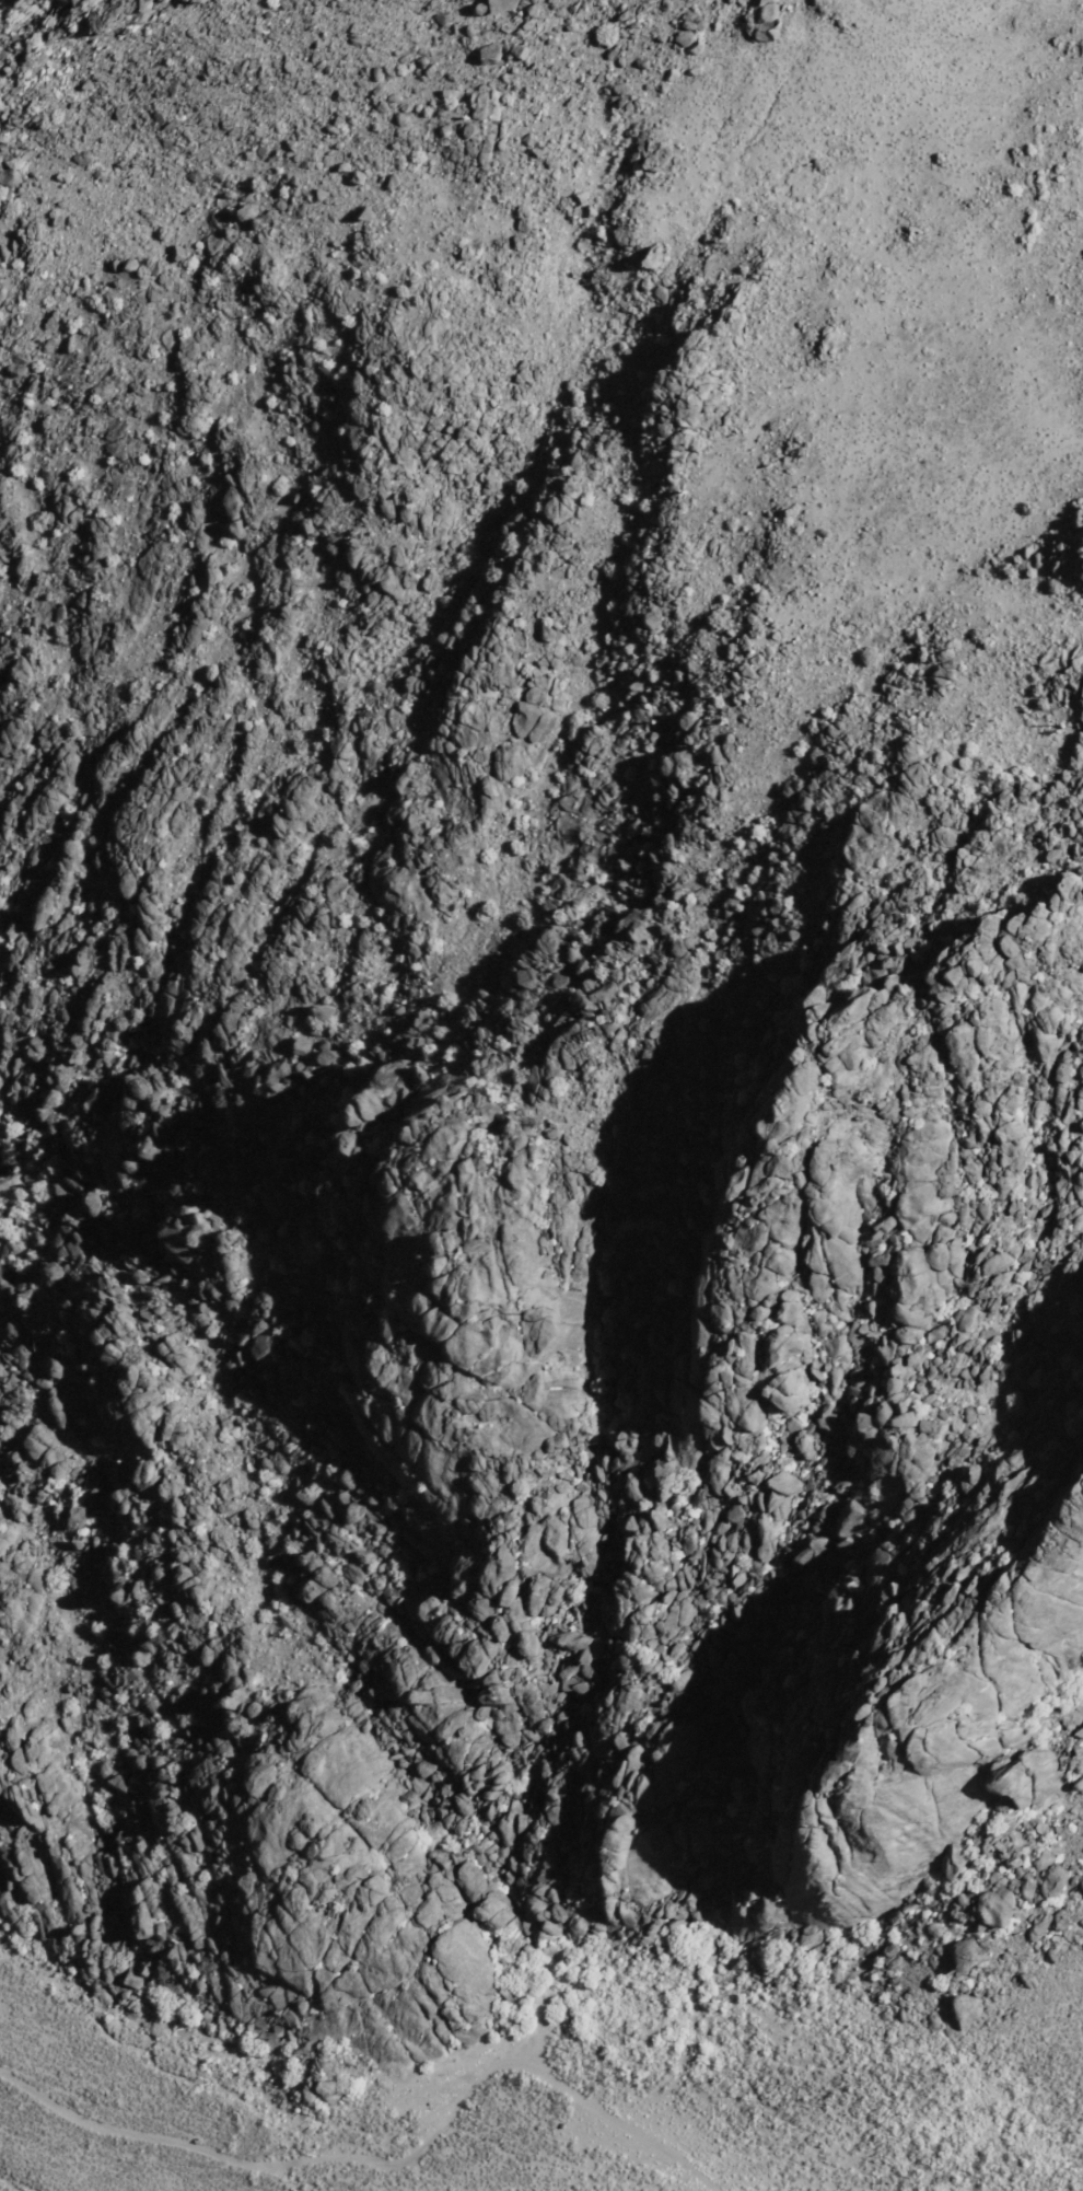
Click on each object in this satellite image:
road: (361, 2151)

